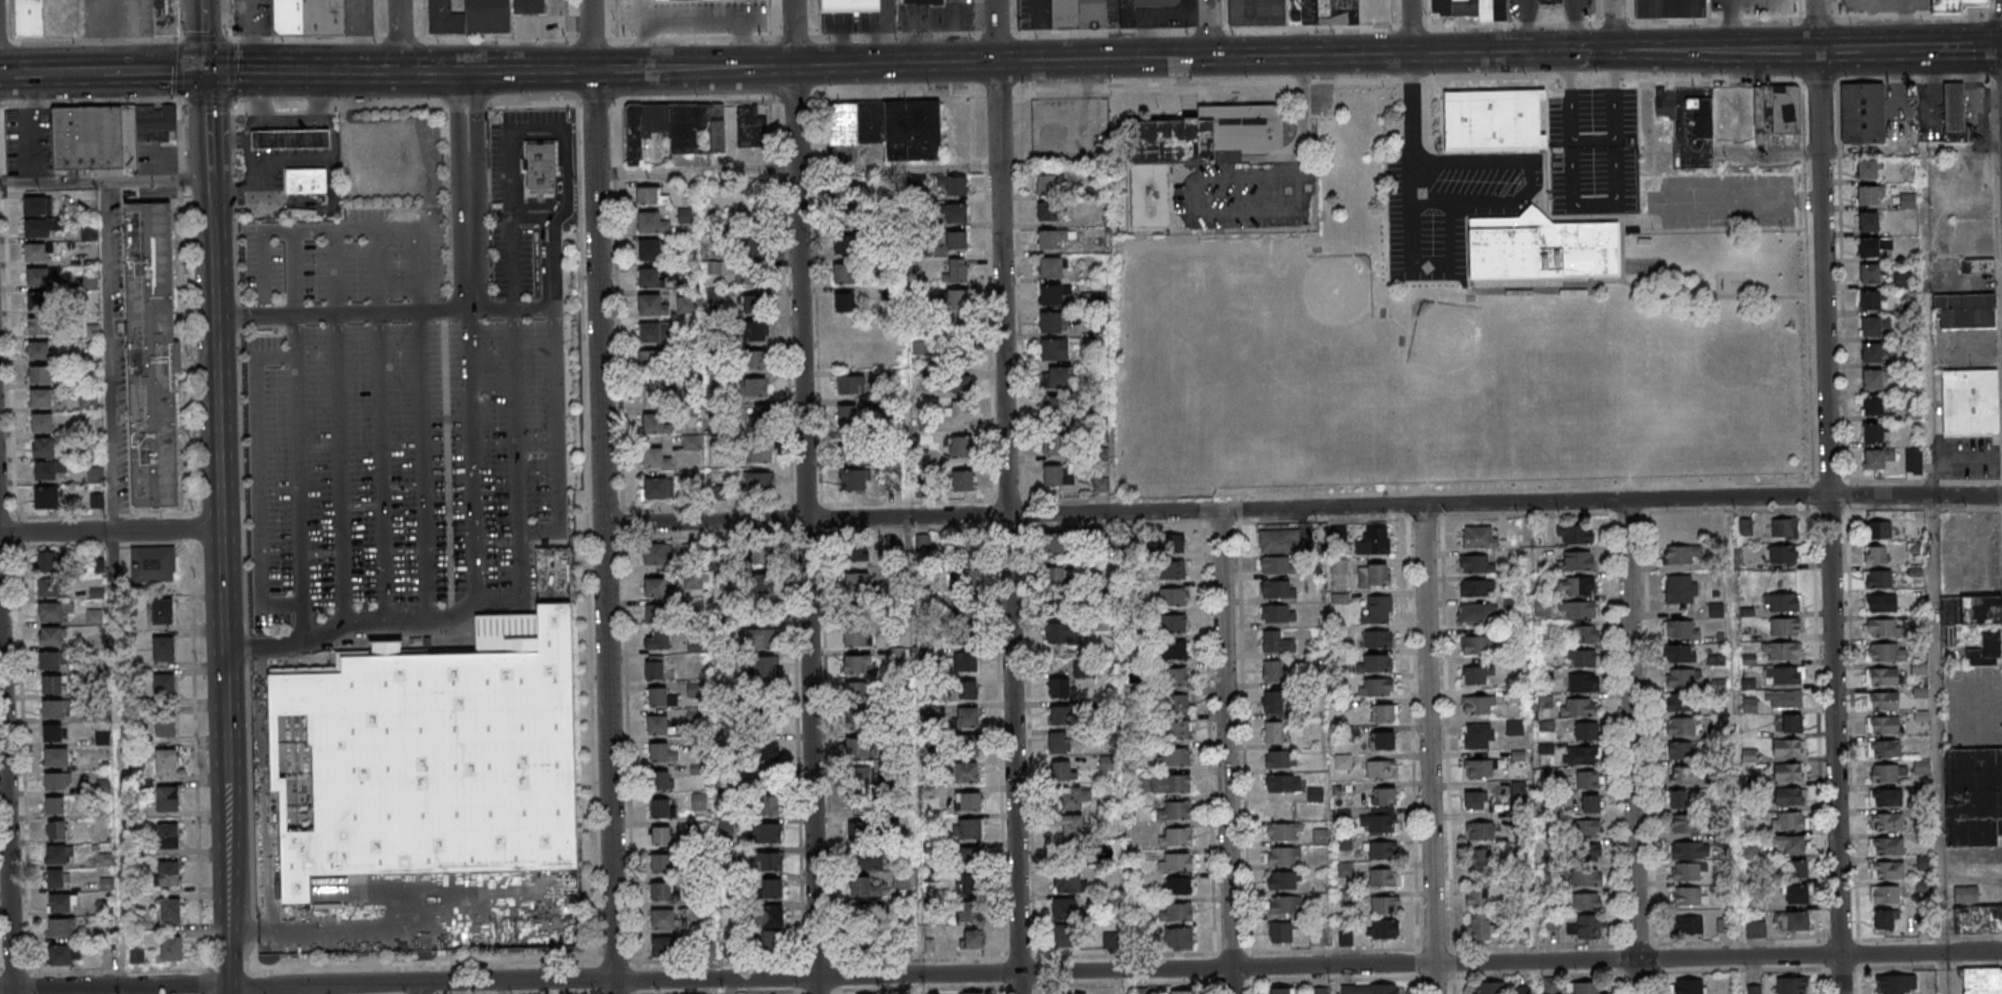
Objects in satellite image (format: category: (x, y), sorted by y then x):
road: (1888, 0)
building: (1549, 1)
building: (923, 2)
building: (851, 5)
building: (1954, 5)
building: (529, 7)
road: (1990, 8)
building: (1472, 9)
building: (1669, 9)
building: (1100, 12)
building: (1292, 12)
road: (1393, 13)
road: (1997, 13)
road: (1912, 14)
building: (111, 16)
building: (165, 17)
building: (309, 17)
building: (469, 17)
road: (1817, 17)
building: (29, 18)
road: (1714, 19)
road: (1615, 21)
road: (1513, 24)
road: (1729, 25)
road: (1411, 26)
road: (1412, 26)
road: (1613, 26)
road: (1205, 28)
road: (1209, 28)
road: (1114, 29)
road: (1040, 30)
road: (995, 32)
road: (398, 35)
road: (793, 35)
road: (894, 35)
road: (201, 36)
road: (692, 37)
road: (399, 38)
road: (496, 38)
road: (590, 39)
road: (303, 40)
road: (201, 41)
road: (5, 42)
road: (95, 42)
road: (1988, 46)
road: (1955, 48)
road: (1837, 50)
road: (1883, 50)
road: (1234, 57)
traffic signals: (1210, 58)
road: (503, 69)
road: (332, 71)
road: (255, 72)
road: (72, 73)
road: (152, 73)
traffic signals: (203, 73)
road: (21, 74)
road: (1992, 78)
road: (1998, 78)
road: (1406, 79)
road: (1913, 79)
road: (1819, 81)
road: (998, 96)
road: (897, 98)
building: (1665, 104)
building: (1953, 110)
building: (1776, 111)
road: (1305, 112)
building: (1862, 113)
building: (1702, 116)
road: (289, 118)
building: (1493, 120)
road: (251, 125)
road: (477, 125)
road: (203, 126)
road: (456, 126)
building: (676, 127)
building: (751, 127)
building: (889, 127)
road: (37, 129)
road: (538, 132)
building: (107, 134)
building: (1953, 137)
building: (289, 142)
building: (1192, 153)
road: (249, 163)
building: (540, 165)
road: (1414, 165)
building: (1869, 168)
road: (796, 169)
road: (1476, 169)
road: (102, 181)
building: (304, 183)
building: (954, 184)
building: (1046, 185)
building: (1869, 194)
building: (651, 197)
building: (1907, 200)
parking lot: (1723, 202)
road: (1740, 202)
building: (37, 206)
parking lot: (1450, 208)
road: (1194, 211)
building: (1048, 212)
building: (956, 213)
building: (685, 217)
road: (1501, 217)
building: (755, 219)
building: (1868, 221)
road: (1603, 222)
building: (651, 223)
building: (40, 228)
road: (305, 230)
road: (1713, 232)
building: (89, 233)
building: (1050, 239)
building: (957, 241)
building: (843, 245)
road: (470, 246)
building: (1872, 246)
building: (1541, 248)
building: (649, 250)
building: (35, 253)
road: (1998, 256)
building: (1978, 265)
building: (1051, 268)
road: (418, 271)
building: (957, 271)
road: (378, 272)
road: (335, 273)
building: (1870, 273)
road: (293, 274)
building: (844, 275)
building: (37, 277)
building: (649, 277)
building: (752, 277)
road: (1842, 280)
building: (1903, 280)
road: (1806, 281)
road: (988, 295)
building: (1051, 295)
road: (1684, 297)
building: (1872, 299)
building: (37, 301)
building: (957, 303)
building: (845, 304)
building: (652, 305)
building: (752, 305)
building: (1967, 311)
road: (382, 314)
building: (1051, 322)
park: (1304, 325)
building: (1873, 325)
building: (38, 327)
park: (1465, 328)
building: (752, 331)
building: (656, 332)
building: (1054, 350)
building: (39, 351)
building: (1871, 352)
building: (958, 354)
building: (151, 355)
building: (848, 358)
building: (755, 361)
building: (654, 362)
building: (40, 375)
park: (1479, 378)
building: (1060, 379)
building: (1872, 379)
park: (1699, 382)
building: (958, 384)
building: (851, 386)
building: (754, 388)
building: (41, 399)
building: (88, 401)
building: (1970, 401)
building: (1873, 405)
building: (1054, 408)
building: (959, 411)
building: (847, 416)
parking lot: (389, 418)
building: (753, 420)
building: (42, 422)
building: (656, 424)
building: (1872, 432)
building: (690, 443)
building: (1055, 445)
building: (959, 447)
building: (44, 448)
building: (755, 455)
road: (474, 456)
building: (655, 458)
building: (1876, 458)
building: (1913, 461)
road: (422, 465)
road: (383, 467)
road: (340, 469)
building: (48, 471)
building: (94, 475)
building: (1053, 477)
building: (853, 479)
road: (1828, 479)
road: (256, 480)
road: (299, 480)
building: (962, 482)
building: (757, 483)
building: (1102, 485)
building: (657, 488)
building: (718, 493)
road: (1812, 493)
road: (1846, 494)
road: (602, 496)
road: (1828, 496)
road: (804, 497)
road: (1006, 497)
building: (46, 499)
building: (96, 501)
road: (1302, 508)
road: (1830, 508)
road: (1925, 508)
road: (1729, 510)
building: (1919, 523)
building: (1744, 527)
building: (1784, 527)
building: (1882, 529)
road: (107, 531)
building: (1677, 531)
building: (1575, 535)
building: (1478, 537)
building: (1277, 541)
building: (1374, 541)
building: (923, 543)
building: (1055, 544)
building: (1173, 544)
building: (1912, 548)
building: (964, 549)
building: (856, 551)
building: (762, 553)
building: (1680, 554)
building: (1783, 554)
building: (1875, 554)
building: (657, 555)
building: (1577, 561)
building: (48, 563)
building: (153, 564)
building: (1476, 564)
building: (1276, 565)
building: (1172, 569)
building: (1373, 575)
building: (1879, 579)
building: (695, 581)
building: (962, 582)
building: (1057, 582)
building: (858, 584)
road: (216, 586)
building: (1576, 586)
building: (48, 587)
road: (112, 587)
building: (655, 587)
building: (1476, 587)
building: (762, 588)
building: (1278, 589)
building: (1681, 589)
building: (1174, 596)
road: (507, 599)
building: (1783, 602)
building: (1881, 603)
building: (1378, 610)
building: (1716, 610)
building: (53, 611)
building: (162, 611)
building: (1577, 611)
building: (1477, 612)
building: (1967, 613)
building: (657, 614)
building: (1277, 614)
building: (1175, 623)
building: (1785, 627)
building: (1883, 628)
building: (1681, 629)
building: (1061, 634)
building: (1584, 635)
building: (51, 636)
building: (855, 638)
building: (1377, 638)
building: (762, 639)
building: (658, 640)
building: (1276, 642)
building: (1477, 644)
building: (1987, 648)
building: (164, 649)
building: (1176, 649)
building: (1782, 652)
building: (1885, 653)
building: (1679, 654)
building: (1583, 658)
building: (50, 661)
building: (965, 661)
building: (1377, 663)
building: (859, 664)
building: (655, 667)
building: (764, 667)
building: (1272, 670)
building: (1476, 674)
building: (1784, 675)
building: (1175, 676)
building: (1883, 677)
building: (1683, 678)
building: (1582, 682)
building: (164, 684)
building: (53, 685)
building: (1059, 687)
building: (1379, 687)
building: (695, 689)
building: (968, 689)
building: (661, 697)
building: (1783, 700)
building: (1882, 700)
building: (1272, 701)
building: (1681, 702)
building: (1175, 703)
building: (1479, 705)
building: (1578, 707)
building: (53, 709)
building: (1384, 713)
building: (1060, 715)
building: (695, 716)
building: (969, 717)
building: (857, 718)
building: (1792, 723)
building: (657, 724)
building: (1883, 724)
road: (1938, 724)
building: (165, 726)
building: (1680, 726)
building: (1179, 730)
building: (1587, 731)
building: (1274, 732)
building: (52, 733)
building: (1478, 735)
building: (1382, 740)
building: (1059, 741)
building: (969, 743)
building: (764, 746)
road: (1630, 747)
building: (1788, 747)
building: (1884, 748)
building: (857, 749)
road: (1428, 750)
building: (1679, 750)
road: (1225, 752)
building: (661, 753)
building: (428, 755)
building: (1581, 756)
building: (56, 757)
building: (1176, 757)
building: (1279, 760)
building: (166, 761)
building: (1342, 762)
building: (1106, 765)
road: (194, 768)
building: (1479, 768)
building: (1380, 769)
building: (966, 772)
building: (1789, 772)
building: (1887, 772)
building: (1065, 774)
building: (1684, 775)
building: (863, 777)
building: (659, 780)
building: (1588, 780)
building: (54, 781)
building: (1171, 783)
building: (1283, 784)
building: (1315, 795)
building: (1383, 796)
building: (1789, 796)
building: (1973, 796)
building: (1886, 797)
building: (167, 798)
building: (1072, 798)
building: (1677, 799)
building: (1473, 800)
building: (699, 801)
building: (967, 801)
building: (1590, 804)
building: (54, 805)
building: (768, 805)
building: (660, 808)
road: (6, 809)
building: (1175, 810)
building: (1789, 821)
building: (1886, 821)
building: (1378, 823)
building: (1685, 824)
building: (1070, 826)
building: (1588, 827)
building: (862, 829)
building: (967, 829)
building: (56, 831)
building: (1479, 831)
building: (765, 832)
building: (1283, 832)
building: (167, 836)
building: (662, 836)
building: (1176, 837)
building: (1320, 837)
building: (1344, 844)
building: (1789, 845)
building: (1886, 845)
building: (1591, 851)
building: (1382, 852)
building: (1689, 852)
building: (57, 856)
building: (1283, 857)
building: (1480, 857)
building: (969, 858)
building: (867, 860)
building: (769, 861)
building: (660, 863)
building: (1176, 863)
building: (1796, 870)
building: (1887, 870)
building: (168, 873)
building: (1682, 874)
building: (1384, 877)
building: (1592, 879)
building: (55, 880)
building: (902, 880)
building: (1068, 881)
building: (1283, 881)
building: (969, 885)
building: (865, 887)
building: (1178, 887)
building: (772, 888)
building: (660, 891)
building: (1886, 894)
building: (1965, 894)
building: (1476, 895)
building: (1796, 895)
building: (1686, 897)
building: (1586, 902)
building: (61, 904)
building: (1286, 904)
building: (1385, 905)
building: (1064, 908)
building: (170, 910)
building: (1176, 912)
building: (862, 914)
building: (771, 916)
building: (667, 919)
building: (1882, 919)
building: (1978, 919)
building: (1792, 921)
building: (1552, 923)
building: (971, 926)
building: (1479, 926)
building: (1687, 926)
building: (61, 928)
building: (1585, 928)
building: (1384, 929)
building: (1755, 929)
building: (1281, 932)
building: (1064, 935)
building: (1178, 936)
building: (1345, 938)
building: (1110, 939)
building: (770, 941)
building: (664, 946)
building: (171, 948)
building: (60, 956)
road: (1000, 973)
building: (1981, 980)
building: (1897, 984)
building: (1792, 985)
building: (1689, 986)
road: (418, 988)
building: (1491, 988)
building: (1587, 988)
building: (1369, 989)
building: (1753, 990)
building: (1282, 991)
building: (1320, 991)
building: (1181, 992)
building: (971, 993)
building: (1072, 993)

